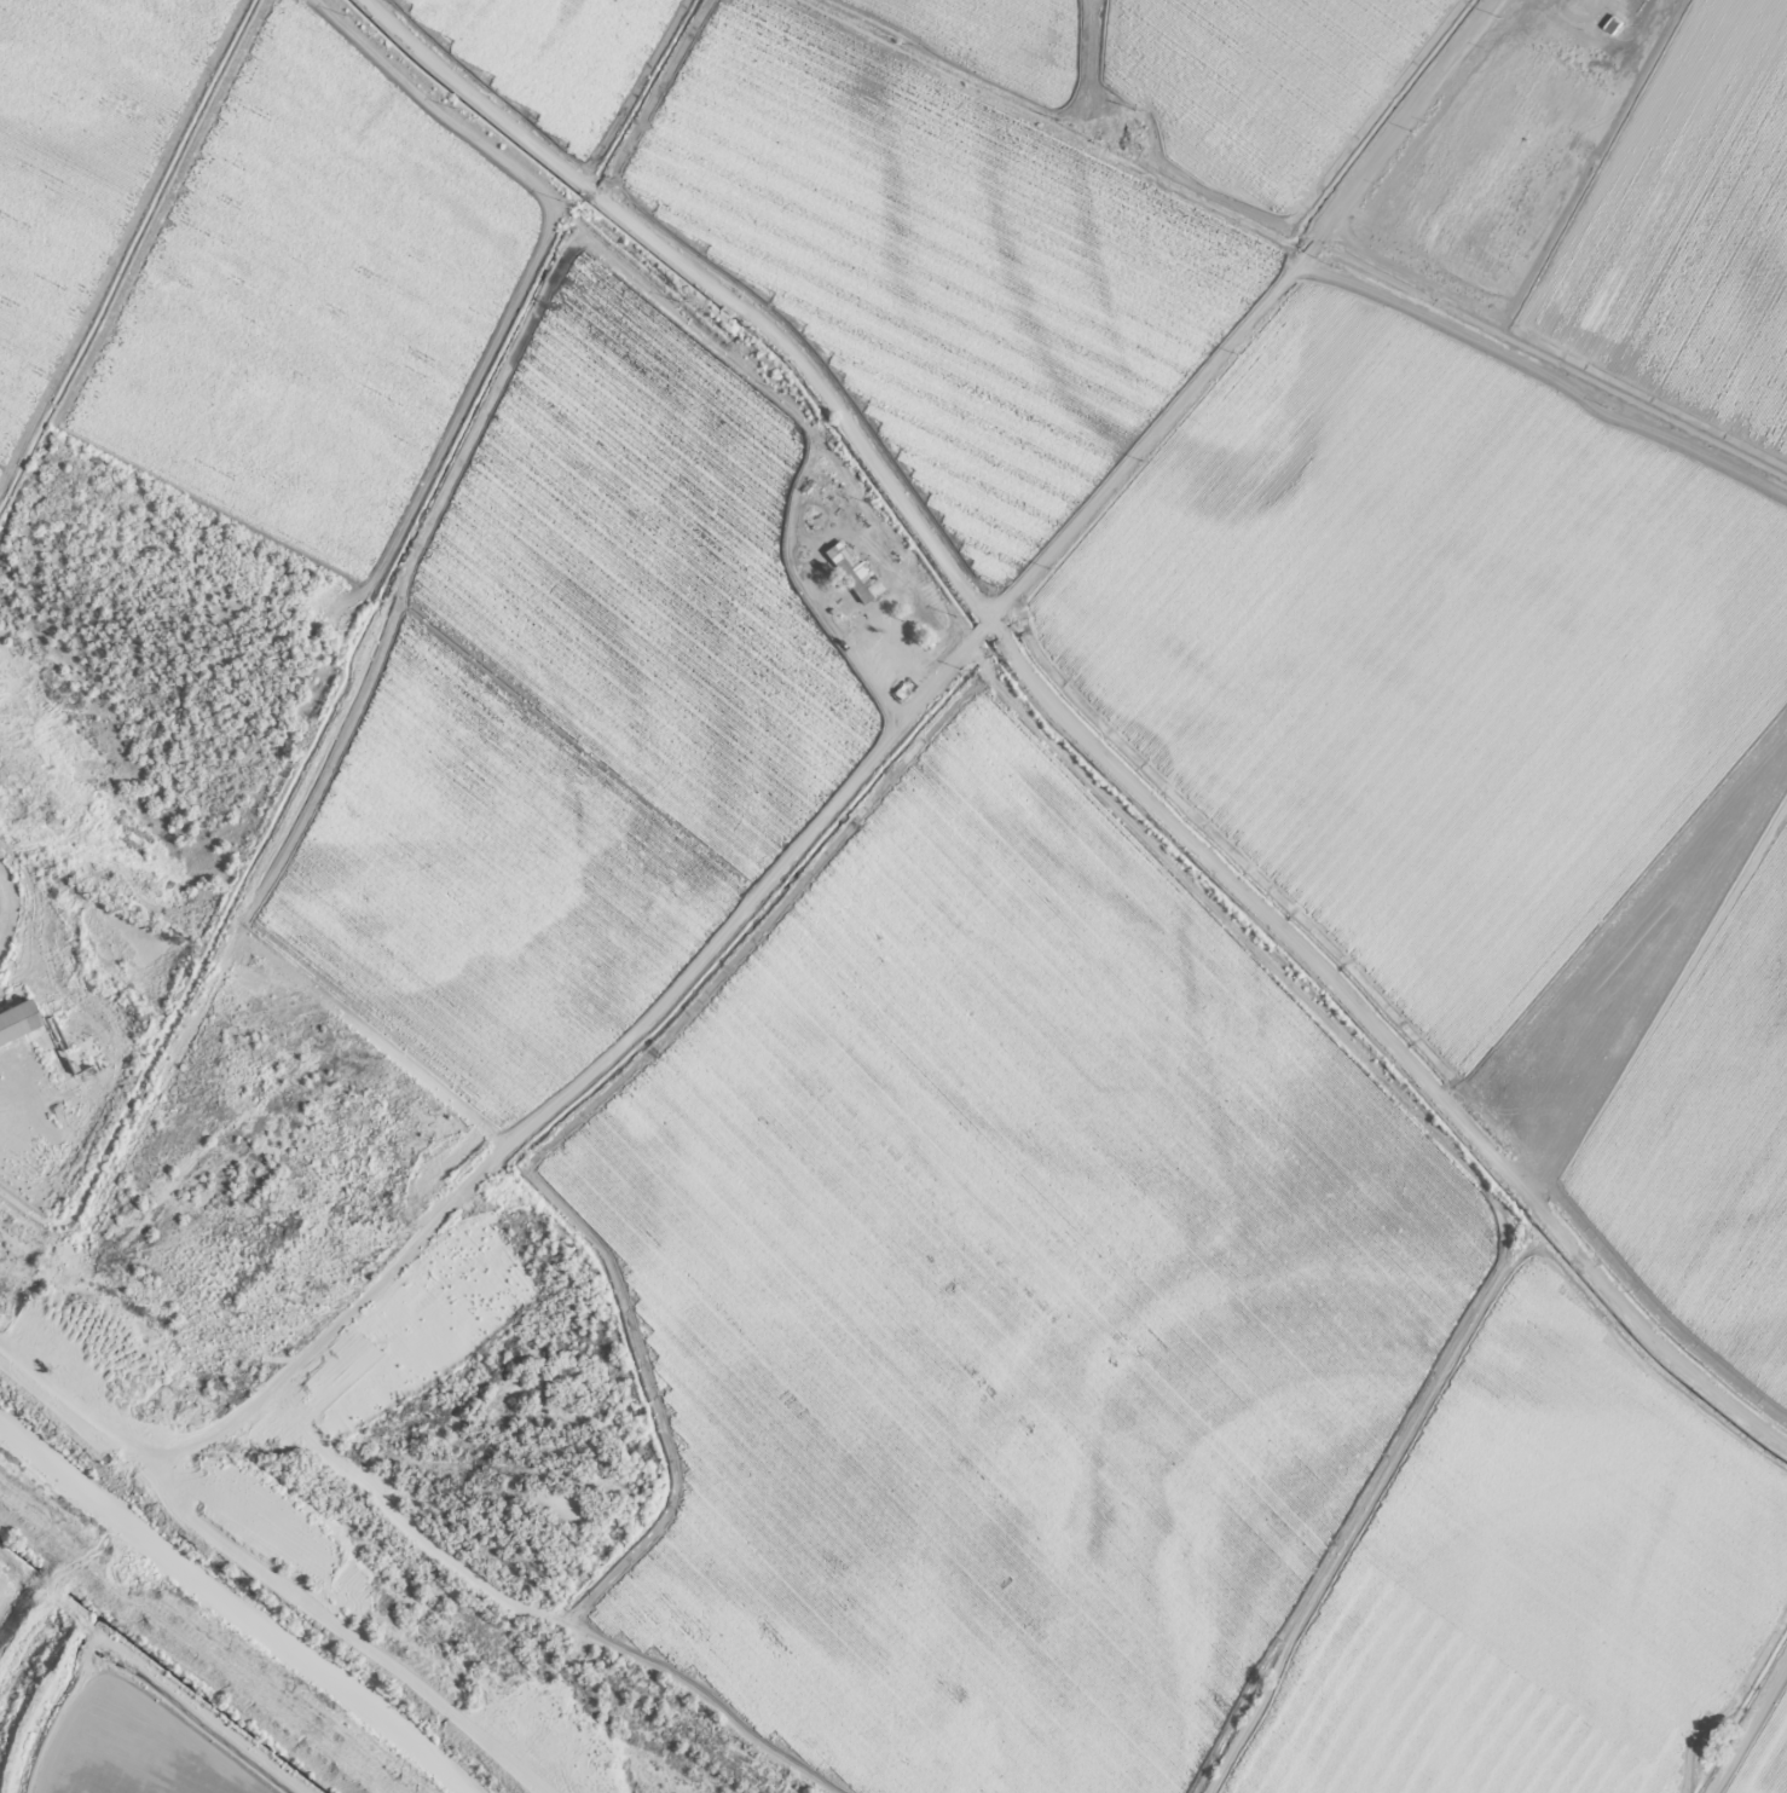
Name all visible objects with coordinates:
crop: (1, 1567)

